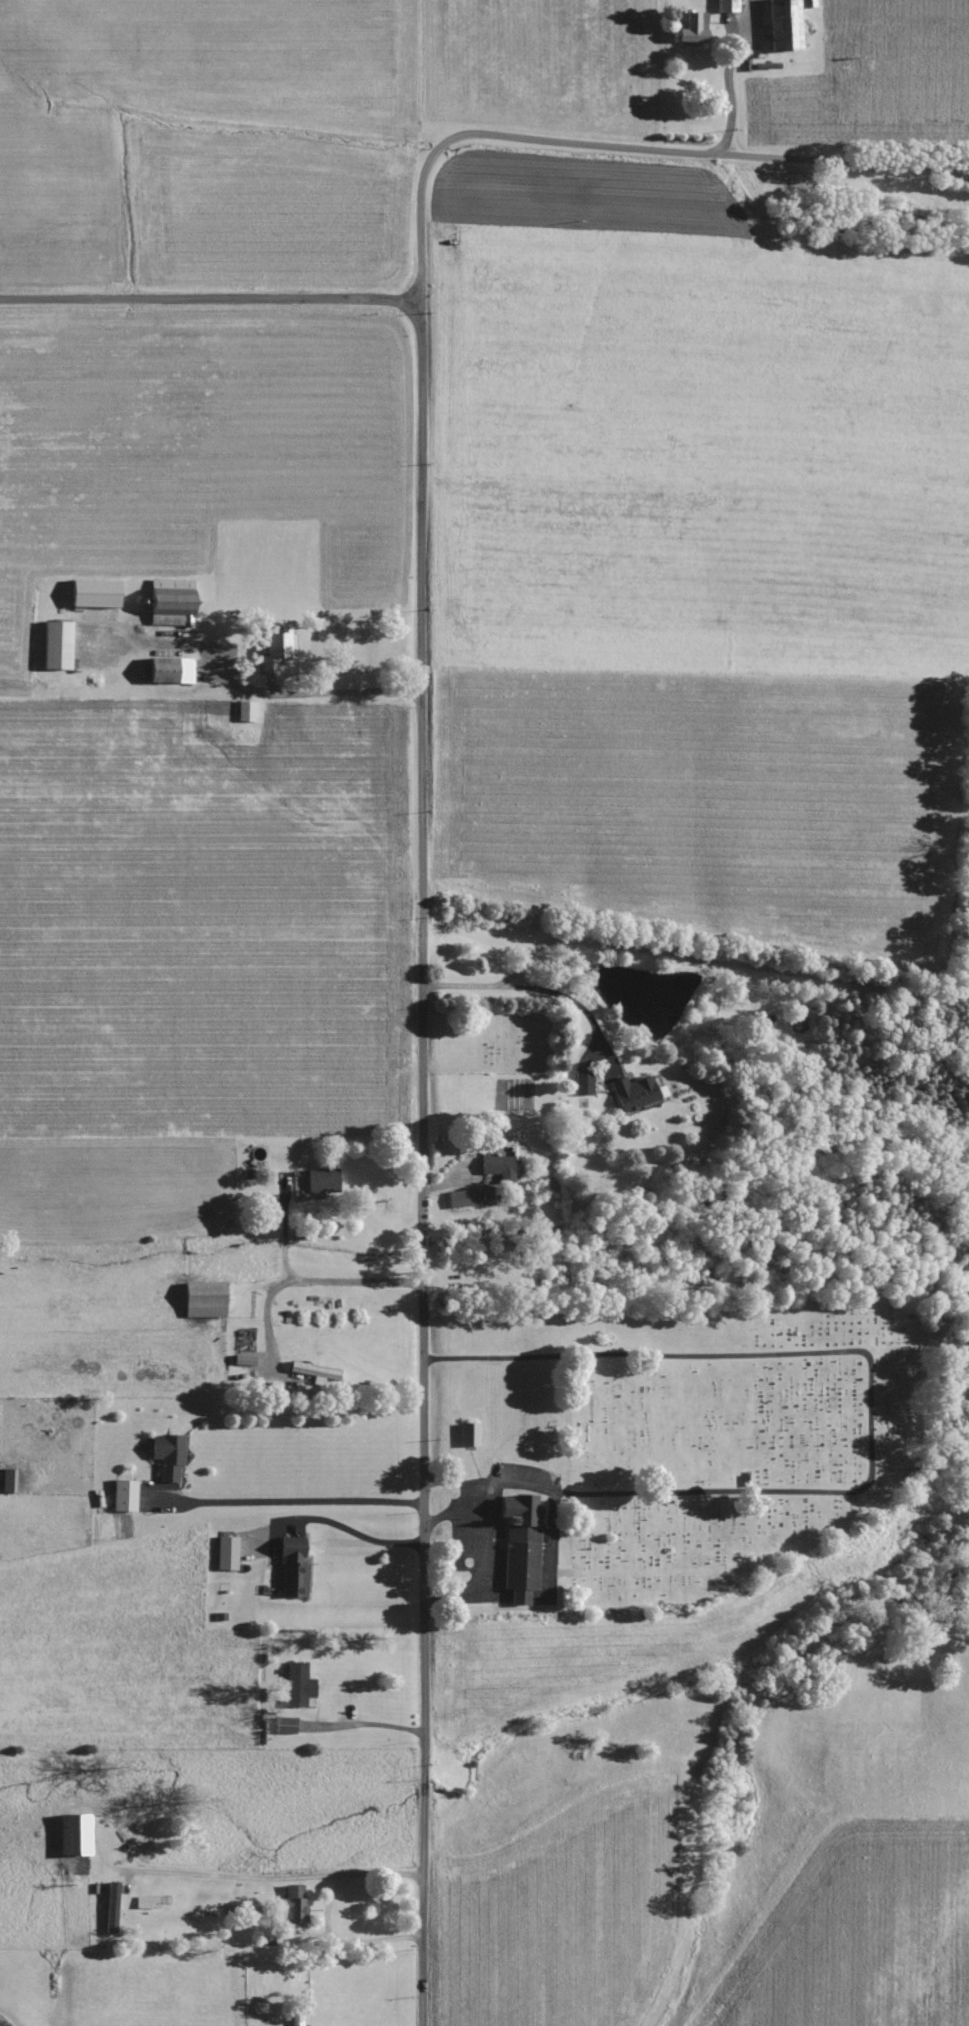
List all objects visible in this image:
building: (726, 6)
building: (784, 25)
building: (693, 27)
road: (722, 95)
crop: (171, 101)
road: (625, 152)
road: (210, 302)
building: (170, 601)
building: (56, 645)
building: (275, 649)
building: (171, 670)
road: (322, 696)
building: (245, 711)
road: (718, 963)
road: (546, 991)
building: (582, 1083)
building: (633, 1093)
road: (424, 1163)
building: (498, 1168)
building: (322, 1182)
building: (461, 1199)
road: (302, 1283)
building: (203, 1300)
road: (867, 1362)
building: (315, 1373)
building: (468, 1435)
building: (167, 1456)
building: (7, 1481)
building: (123, 1496)
road: (302, 1506)
road: (334, 1547)
building: (521, 1548)
building: (226, 1554)
building: (293, 1568)
building: (297, 1686)
building: (285, 1726)
road: (353, 1727)
building: (74, 1833)
building: (145, 1902)
building: (292, 1905)
building: (298, 2019)

